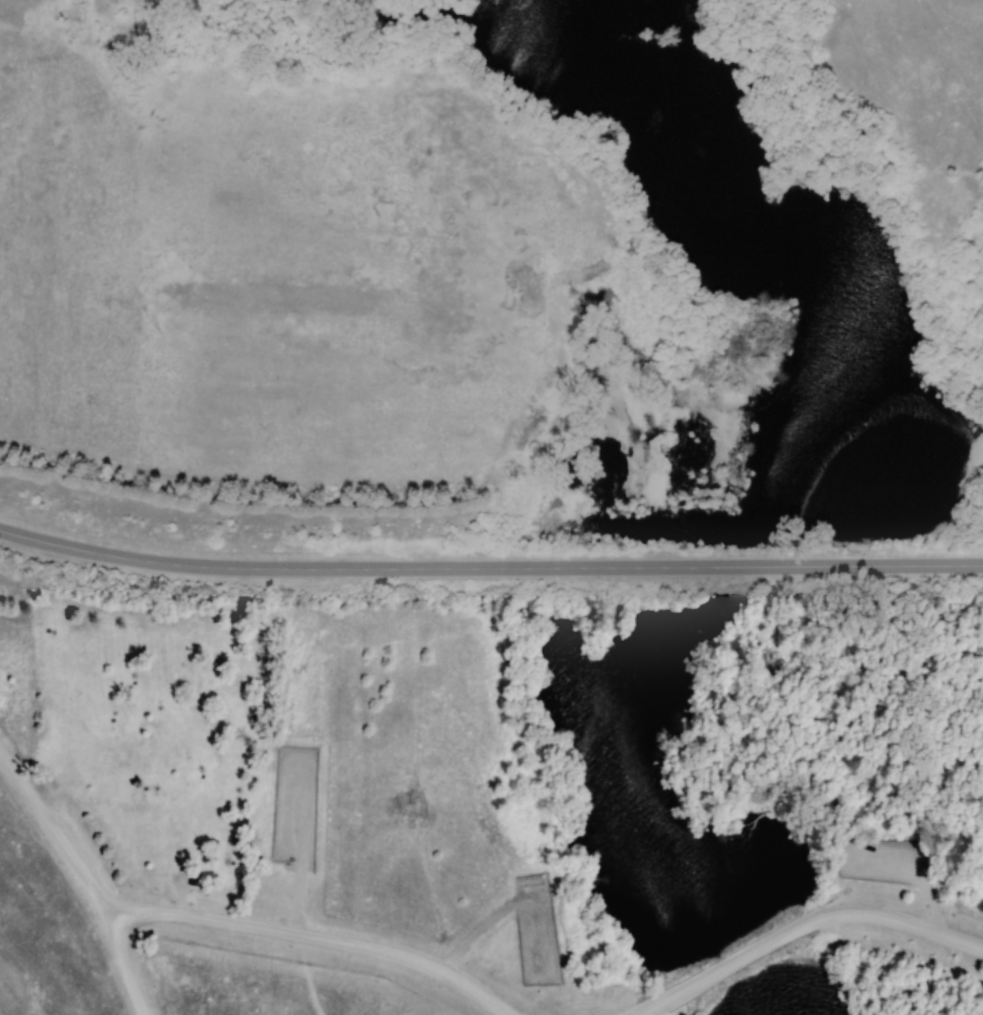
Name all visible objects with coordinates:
road: (119, 557)
road: (611, 566)
park: (491, 790)
road: (83, 879)
road: (801, 927)
road: (312, 937)

